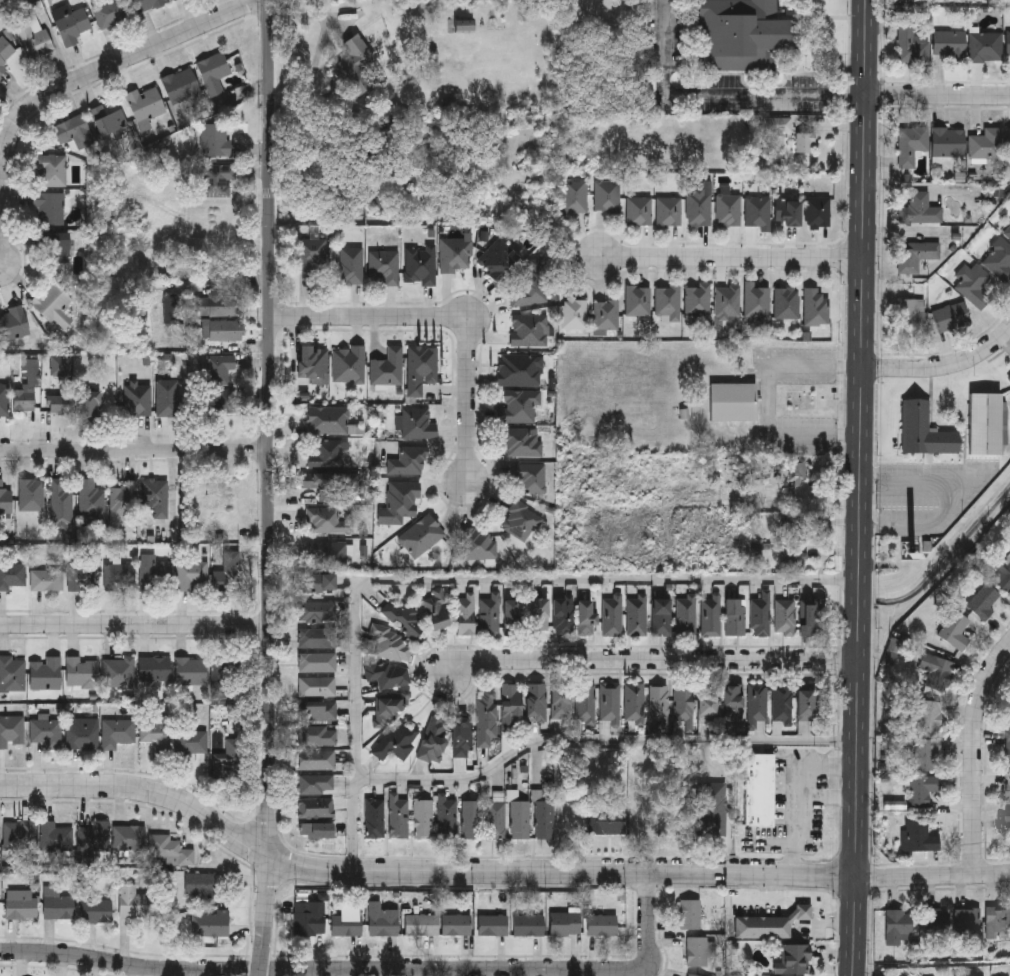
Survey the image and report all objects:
building: (176, 0)
building: (147, 4)
building: (112, 12)
building: (464, 24)
building: (73, 25)
building: (745, 35)
building: (35, 38)
building: (1007, 43)
building: (950, 44)
building: (911, 45)
building: (985, 46)
building: (5, 53)
building: (354, 58)
building: (214, 72)
building: (181, 85)
road: (66, 86)
road: (720, 94)
road: (939, 95)
building: (146, 103)
building: (108, 119)
building: (75, 131)
building: (216, 139)
building: (948, 140)
building: (1007, 140)
building: (911, 143)
building: (986, 143)
building: (52, 170)
building: (218, 179)
building: (575, 196)
building: (607, 196)
building: (50, 208)
building: (699, 208)
building: (920, 208)
building: (729, 210)
building: (639, 211)
building: (669, 211)
building: (818, 211)
building: (758, 212)
building: (788, 212)
building: (1008, 229)
building: (1008, 233)
building: (56, 245)
building: (311, 252)
building: (915, 252)
building: (456, 253)
road: (729, 255)
building: (499, 260)
building: (351, 264)
building: (385, 264)
building: (420, 264)
building: (973, 282)
building: (527, 288)
building: (757, 299)
building: (638, 300)
building: (668, 301)
building: (728, 301)
building: (786, 301)
building: (54, 304)
building: (219, 306)
building: (816, 306)
building: (174, 310)
building: (575, 312)
building: (910, 312)
building: (950, 314)
building: (606, 316)
road: (451, 318)
building: (13, 323)
building: (530, 328)
building: (224, 330)
building: (313, 362)
building: (349, 363)
building: (220, 367)
building: (388, 367)
building: (422, 367)
road: (945, 367)
building: (520, 368)
building: (167, 396)
building: (24, 398)
building: (4, 399)
building: (225, 400)
building: (736, 400)
road: (770, 401)
building: (59, 402)
building: (520, 406)
building: (88, 407)
building: (328, 419)
building: (986, 422)
building: (418, 423)
building: (925, 429)
building: (521, 440)
road: (135, 452)
building: (326, 453)
building: (409, 460)
building: (531, 477)
building: (325, 484)
road: (270, 488)
road: (864, 488)
building: (205, 491)
building: (31, 494)
building: (156, 495)
building: (5, 498)
building: (91, 498)
building: (60, 500)
building: (402, 500)
road: (959, 500)
building: (120, 503)
building: (330, 520)
building: (521, 520)
building: (421, 535)
building: (478, 543)
building: (326, 553)
building: (229, 572)
building: (1003, 573)
building: (13, 575)
building: (156, 575)
building: (192, 575)
building: (120, 576)
building: (84, 577)
road: (466, 577)
building: (47, 579)
building: (319, 581)
building: (984, 598)
building: (317, 609)
building: (540, 613)
building: (466, 614)
building: (614, 614)
building: (637, 614)
building: (761, 614)
building: (406, 615)
building: (489, 615)
building: (563, 615)
building: (687, 615)
building: (711, 615)
building: (736, 615)
building: (513, 616)
building: (587, 616)
building: (662, 616)
building: (785, 616)
building: (809, 617)
road: (135, 623)
building: (955, 628)
building: (318, 636)
building: (390, 642)
building: (317, 661)
road: (655, 662)
building: (154, 668)
building: (936, 668)
building: (82, 670)
building: (191, 670)
building: (119, 671)
building: (13, 672)
building: (387, 672)
building: (45, 673)
building: (222, 674)
building: (320, 685)
building: (536, 700)
building: (561, 700)
building: (733, 700)
building: (782, 700)
building: (585, 701)
building: (610, 701)
building: (635, 701)
building: (658, 701)
building: (758, 701)
building: (708, 702)
building: (806, 702)
building: (511, 705)
building: (388, 706)
building: (684, 706)
building: (320, 709)
building: (930, 713)
building: (486, 716)
building: (12, 730)
building: (118, 731)
building: (48, 732)
building: (156, 732)
building: (462, 734)
building: (323, 735)
building: (83, 736)
building: (434, 737)
building: (192, 740)
building: (397, 740)
road: (605, 741)
building: (1007, 746)
building: (235, 752)
building: (925, 752)
road: (977, 757)
building: (317, 758)
building: (316, 783)
building: (1008, 786)
building: (921, 787)
building: (760, 789)
road: (836, 799)
road: (812, 803)
building: (714, 804)
building: (316, 807)
building: (399, 815)
building: (375, 816)
building: (423, 817)
building: (448, 817)
building: (471, 817)
building: (496, 818)
building: (519, 818)
building: (544, 818)
building: (609, 821)
building: (1008, 822)
building: (317, 828)
building: (21, 833)
building: (919, 834)
building: (56, 835)
building: (94, 835)
building: (129, 836)
building: (0, 838)
building: (171, 850)
road: (494, 872)
building: (201, 884)
building: (133, 901)
building: (21, 903)
building: (59, 906)
building: (0, 908)
building: (98, 910)
building: (690, 913)
building: (309, 917)
building: (968, 917)
building: (936, 919)
building: (998, 920)
building: (386, 921)
building: (566, 922)
building: (211, 923)
building: (769, 923)
building: (895, 923)
building: (347, 924)
building: (420, 924)
building: (457, 924)
building: (493, 924)
building: (528, 924)
building: (602, 924)
building: (699, 950)
building: (794, 957)
road: (368, 969)
building: (695, 975)
building: (938, 975)

